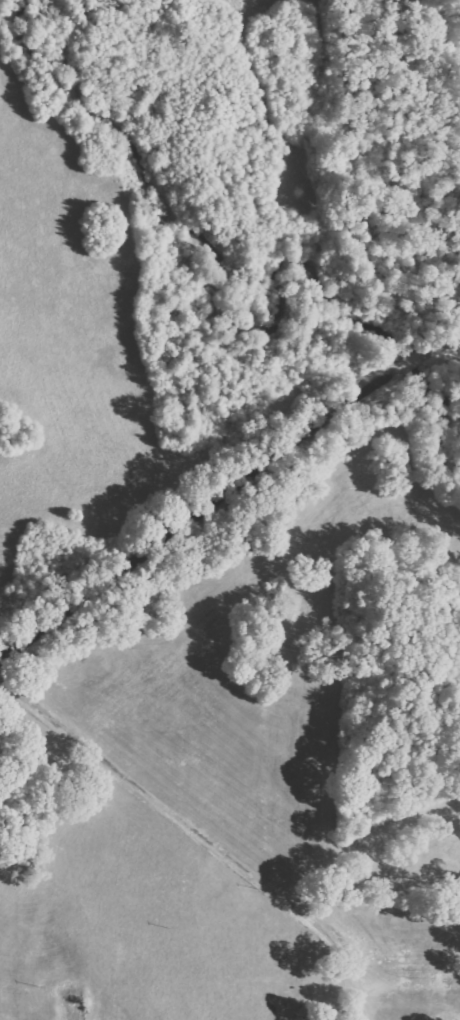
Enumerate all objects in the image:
road: (229, 517)
road: (207, 833)

